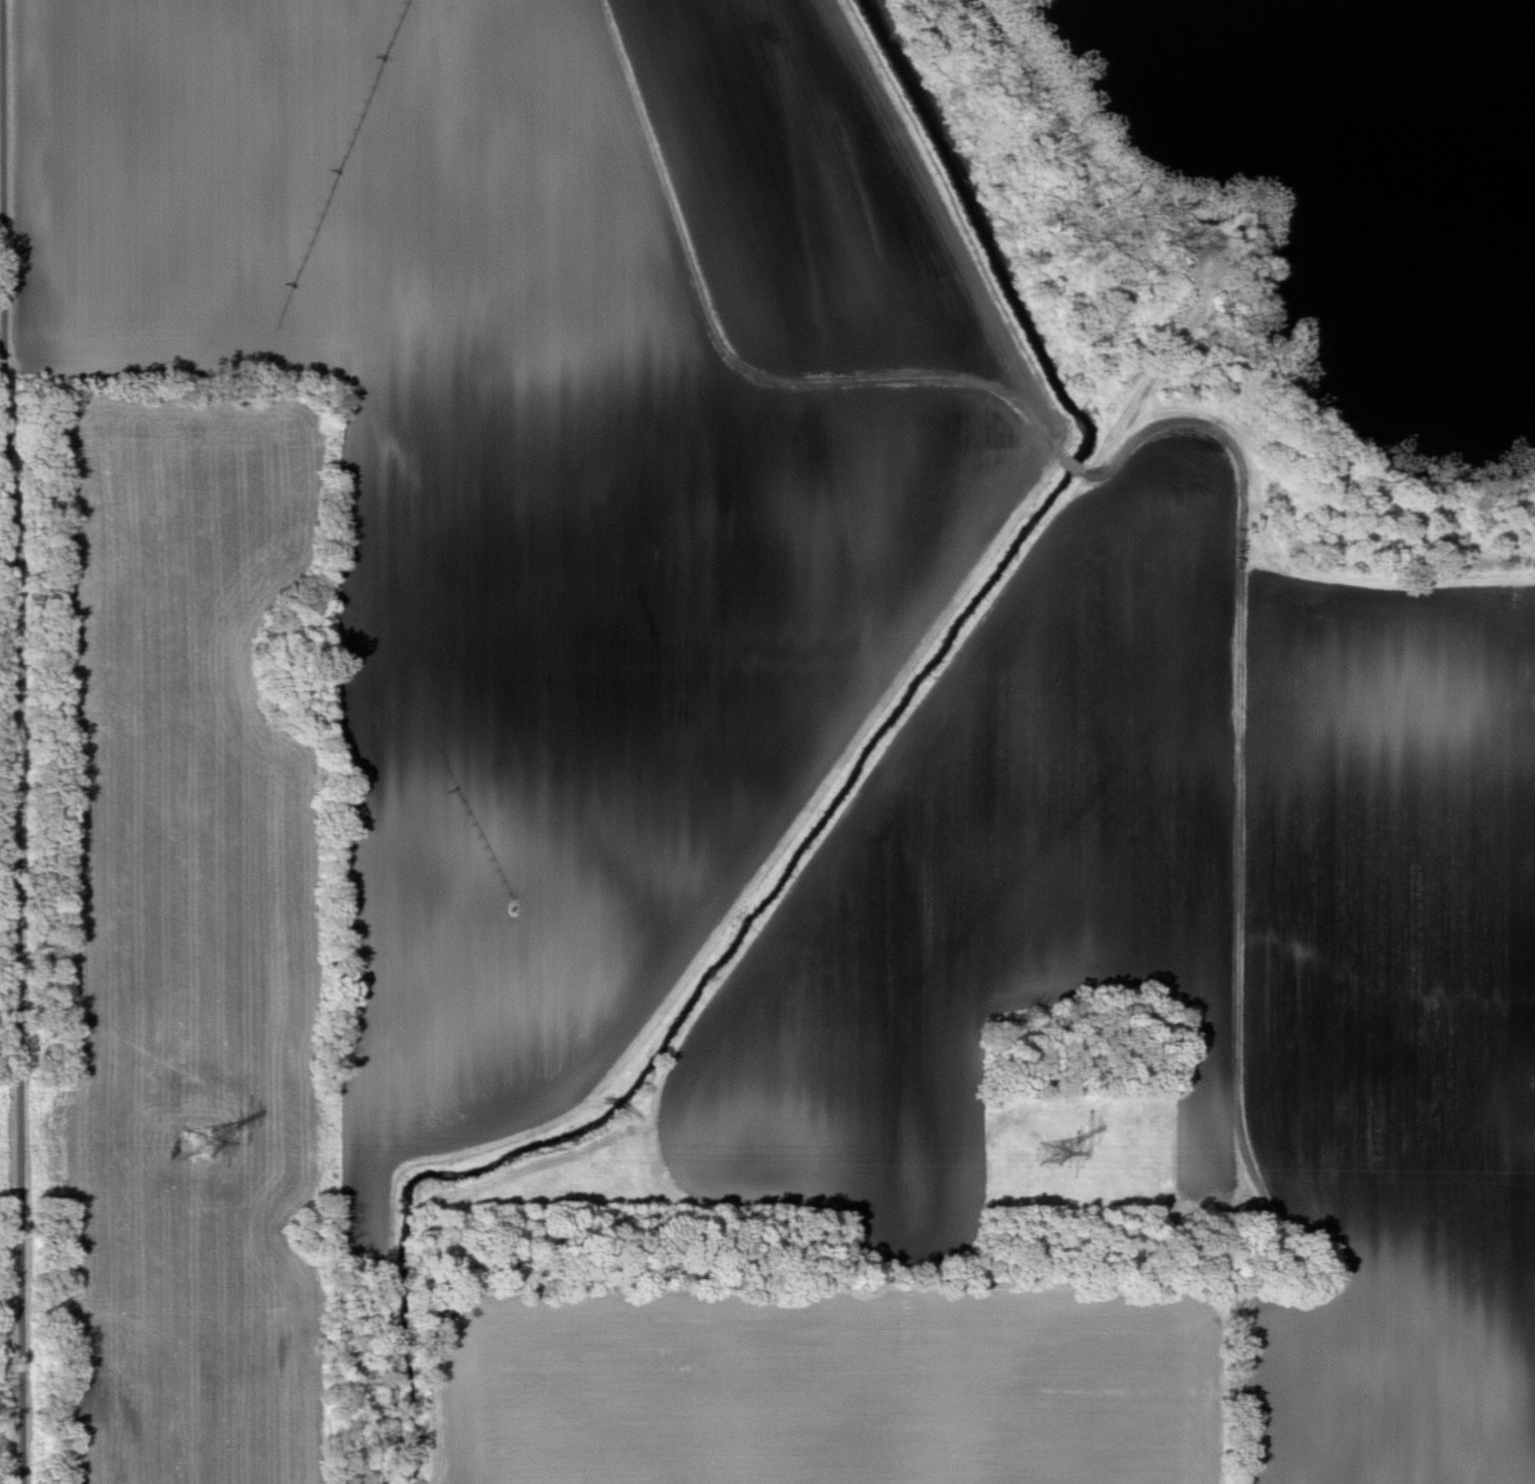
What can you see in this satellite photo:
power tower: (198, 1144)
power tower: (1049, 1156)

